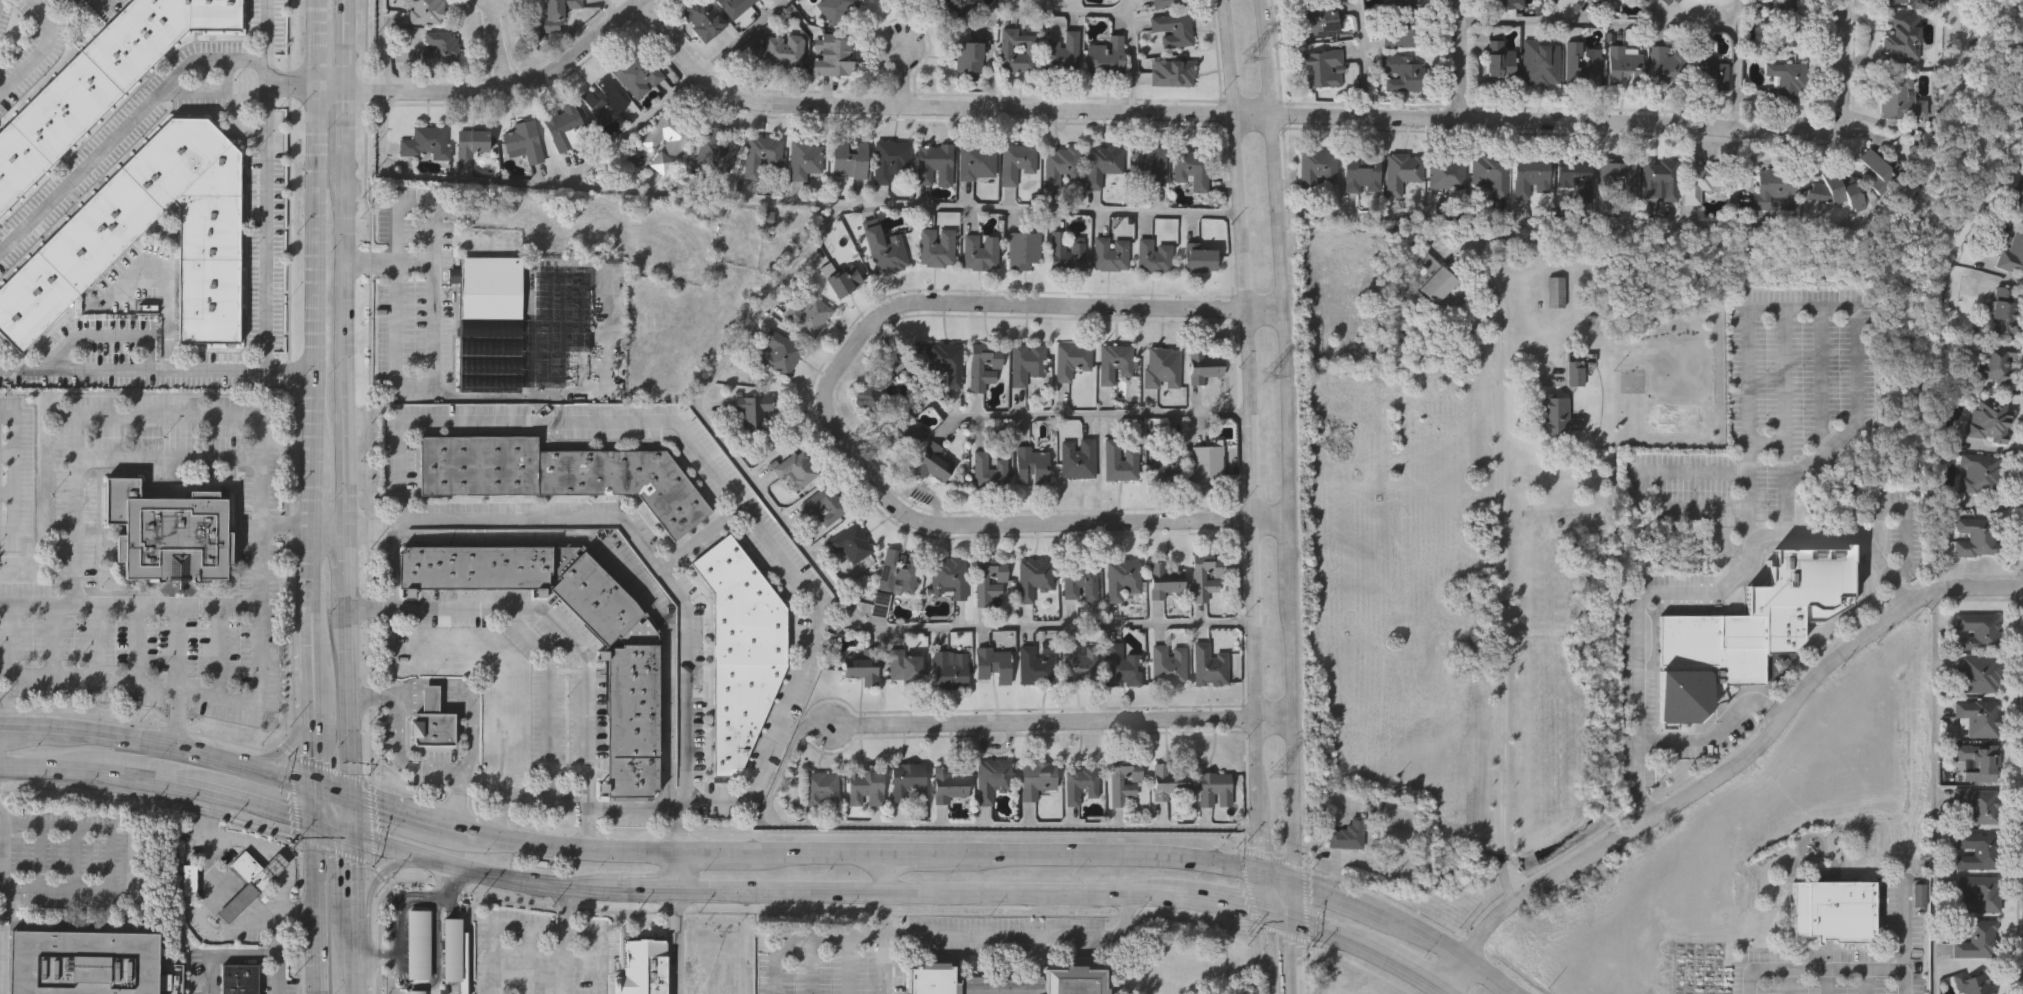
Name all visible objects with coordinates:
building: (1614, 0)
building: (1677, 0)
building: (62, 1)
building: (1396, 1)
building: (1597, 1)
building: (1667, 1)
building: (1900, 1)
building: (1407, 2)
road: (97, 3)
building: (1169, 3)
building: (1507, 3)
park: (1990, 4)
building: (735, 6)
building: (835, 8)
building: (957, 8)
road: (609, 10)
building: (427, 11)
road: (1554, 11)
road: (1064, 13)
building: (552, 15)
building: (704, 18)
building: (1317, 19)
building: (1789, 23)
road: (1599, 24)
building: (1173, 29)
building: (1401, 32)
building: (1903, 34)
road: (743, 37)
road: (312, 42)
road: (498, 44)
road: (383, 46)
building: (437, 49)
building: (778, 50)
road: (41, 51)
building: (1016, 51)
building: (1061, 53)
building: (833, 54)
road: (1133, 54)
power tower: (1253, 55)
building: (967, 57)
building: (1105, 57)
road: (1364, 57)
road: (1460, 58)
road: (1841, 58)
building: (1500, 60)
building: (1595, 61)
building: (1539, 63)
building: (1623, 65)
building: (1321, 66)
building: (1667, 67)
building: (1707, 68)
building: (1402, 71)
building: (637, 72)
building: (1171, 73)
road: (904, 74)
building: (1785, 80)
building: (98, 82)
road: (289, 84)
road: (489, 90)
building: (1899, 95)
building: (603, 100)
road: (1221, 109)
building: (564, 127)
road: (121, 131)
road: (631, 132)
building: (524, 140)
building: (666, 140)
building: (471, 142)
building: (427, 143)
building: (727, 149)
building: (758, 154)
building: (803, 159)
building: (849, 159)
building: (888, 159)
building: (976, 161)
building: (1015, 161)
building: (934, 164)
building: (1102, 164)
building: (1147, 164)
building: (1061, 166)
building: (1190, 167)
building: (1314, 167)
building: (1402, 170)
building: (1448, 170)
building: (1880, 170)
building: (1359, 172)
building: (1532, 172)
building: (1491, 173)
building: (1575, 175)
building: (1619, 175)
building: (1659, 177)
building: (1701, 177)
road: (265, 185)
building: (1774, 187)
building: (1835, 188)
building: (2017, 192)
road: (413, 201)
road: (768, 203)
building: (767, 224)
road: (1612, 224)
building: (84, 246)
building: (936, 248)
building: (1066, 249)
building: (1022, 250)
building: (979, 252)
building: (2012, 252)
building: (887, 253)
building: (1109, 254)
building: (1153, 256)
building: (1197, 257)
road: (312, 258)
road: (385, 261)
building: (840, 278)
building: (1434, 278)
building: (1556, 290)
building: (2003, 313)
building: (810, 314)
building: (488, 323)
road: (1749, 351)
building: (779, 352)
building: (1071, 360)
building: (945, 362)
building: (1114, 362)
building: (1026, 363)
building: (1996, 364)
building: (1203, 365)
building: (1160, 367)
building: (975, 369)
road: (132, 370)
road: (287, 372)
building: (1575, 374)
power tower: (1267, 375)
road: (1822, 380)
road: (412, 382)
road: (1786, 391)
building: (875, 395)
road: (341, 399)
road: (826, 407)
building: (754, 408)
road: (1040, 416)
road: (165, 417)
building: (1556, 417)
building: (1990, 422)
building: (901, 430)
road: (1254, 437)
road: (1282, 440)
road: (165, 449)
building: (1077, 460)
building: (1118, 462)
building: (1206, 462)
building: (931, 463)
building: (1030, 465)
building: (1166, 466)
building: (796, 470)
road: (715, 472)
building: (987, 472)
road: (12, 473)
building: (559, 473)
building: (1981, 473)
road: (312, 476)
building: (823, 504)
road: (285, 512)
road: (326, 523)
road: (285, 526)
building: (168, 532)
building: (1974, 536)
road: (699, 537)
building: (852, 542)
road: (641, 546)
building: (475, 566)
building: (899, 572)
road: (623, 574)
road: (823, 574)
building: (948, 576)
building: (1122, 576)
building: (1034, 577)
road: (312, 578)
building: (1199, 578)
building: (1080, 580)
building: (1163, 580)
building: (982, 583)
road: (1501, 583)
road: (1696, 594)
building: (597, 597)
road: (6, 605)
building: (1779, 625)
building: (1978, 628)
building: (1743, 630)
road: (561, 631)
building: (740, 649)
building: (1080, 662)
building: (1209, 662)
road: (315, 663)
building: (992, 663)
building: (1169, 663)
building: (864, 664)
building: (904, 664)
building: (1035, 665)
building: (1121, 665)
building: (949, 669)
building: (1977, 674)
road: (259, 689)
road: (544, 693)
road: (466, 699)
building: (1980, 716)
building: (631, 719)
road: (175, 720)
building: (432, 720)
road: (1059, 722)
road: (1715, 730)
road: (287, 740)
road: (316, 740)
road: (120, 743)
road: (281, 747)
road: (400, 754)
road: (1742, 759)
building: (1980, 759)
road: (49, 767)
road: (327, 768)
power tower: (1274, 776)
building: (991, 778)
building: (1037, 778)
building: (908, 779)
building: (1168, 779)
road: (277, 780)
road: (160, 782)
building: (1114, 783)
building: (948, 784)
building: (865, 785)
building: (1081, 785)
building: (820, 786)
building: (1214, 788)
traffic signals: (316, 791)
road: (1934, 792)
road: (330, 794)
road: (521, 795)
road: (292, 796)
traffic signals: (345, 798)
road: (149, 800)
building: (1978, 805)
road: (316, 808)
road: (269, 809)
road: (632, 810)
road: (345, 815)
road: (409, 820)
road: (368, 821)
traffic signals: (317, 826)
road: (331, 829)
road: (804, 830)
traffic signals: (346, 833)
building: (1349, 834)
road: (256, 844)
road: (576, 848)
road: (332, 849)
building: (1976, 849)
road: (711, 853)
road: (813, 855)
road: (918, 857)
road: (1270, 857)
road: (109, 858)
road: (1109, 859)
road: (468, 866)
road: (211, 869)
road: (317, 869)
road: (677, 870)
road: (379, 873)
road: (881, 873)
road: (447, 876)
traffic signals: (1261, 876)
road: (1276, 878)
building: (250, 879)
building: (187, 880)
traffic signals: (1292, 881)
road: (635, 885)
road: (367, 887)
road: (1246, 888)
road: (346, 890)
road: (929, 890)
road: (1262, 890)
building: (1980, 892)
road: (1223, 894)
road: (1292, 898)
road: (1340, 899)
road: (2, 902)
road: (1303, 902)
road: (233, 904)
traffic signals: (1263, 904)
road: (1278, 909)
road: (257, 911)
building: (1831, 911)
road: (296, 913)
traffic signals: (1293, 915)
road: (520, 928)
road: (1281, 932)
road: (274, 933)
road: (948, 935)
road: (1425, 937)
building: (1975, 938)
road: (675, 940)
road: (883, 941)
road: (599, 945)
road: (1373, 945)
road: (1270, 948)
road: (317, 953)
building: (452, 953)
building: (425, 954)
road: (1293, 954)
road: (246, 955)
road: (371, 955)
road: (527, 961)
building: (86, 962)
road: (1304, 966)
building: (642, 967)
road: (1779, 970)
road: (1862, 970)
road: (348, 971)
road: (1456, 972)
road: (1487, 976)
building: (237, 979)
building: (1076, 980)
road: (402, 982)
building: (964, 983)
building: (1969, 983)
road: (1455, 990)

